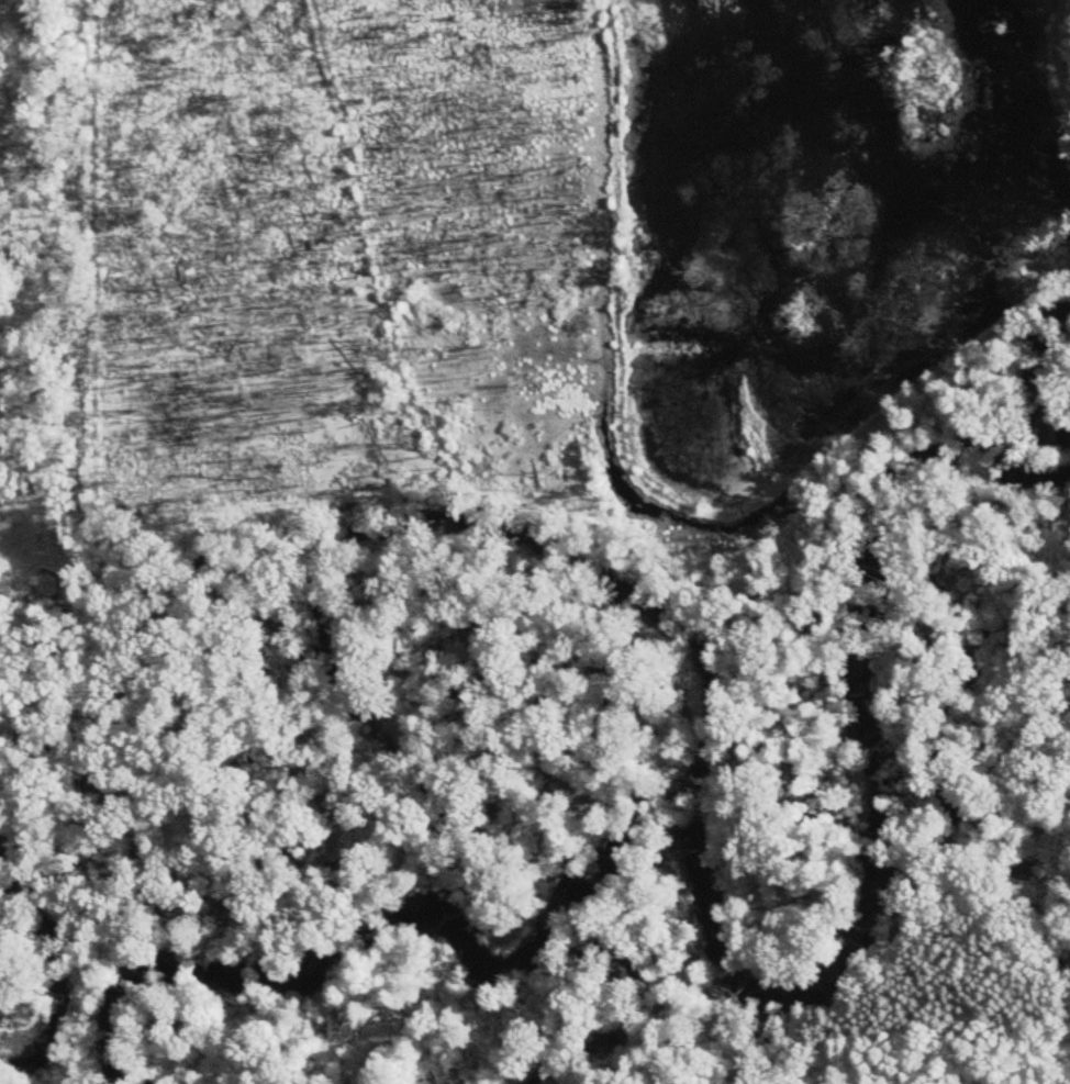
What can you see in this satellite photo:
river: (700, 800)
river: (323, 965)
river: (19, 977)

